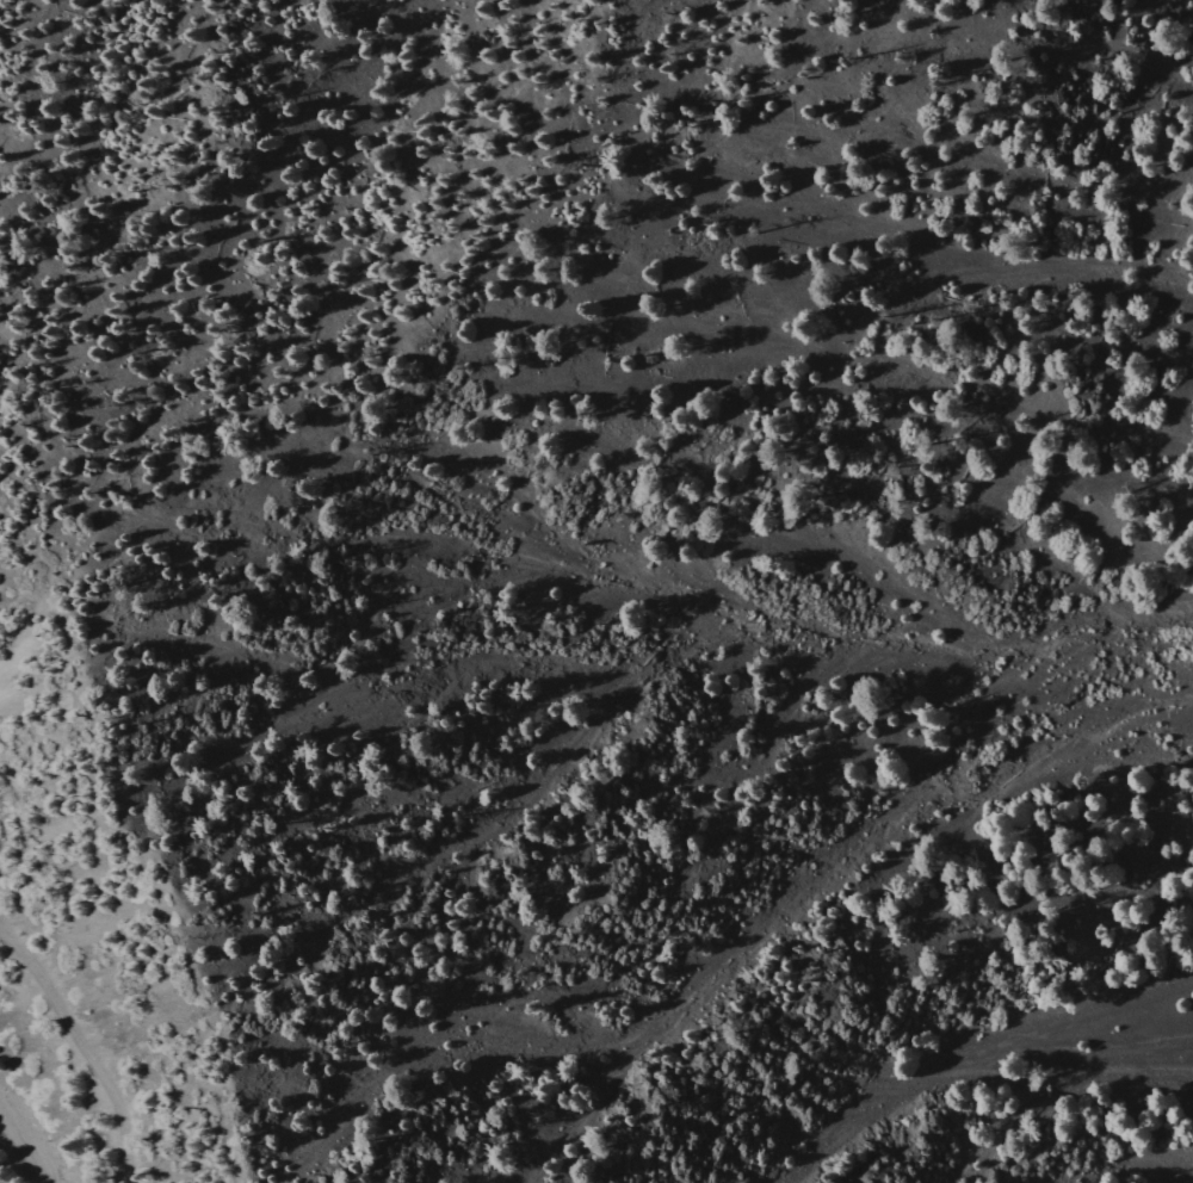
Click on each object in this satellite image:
road: (81, 1042)
ski resort: (63, 1049)

